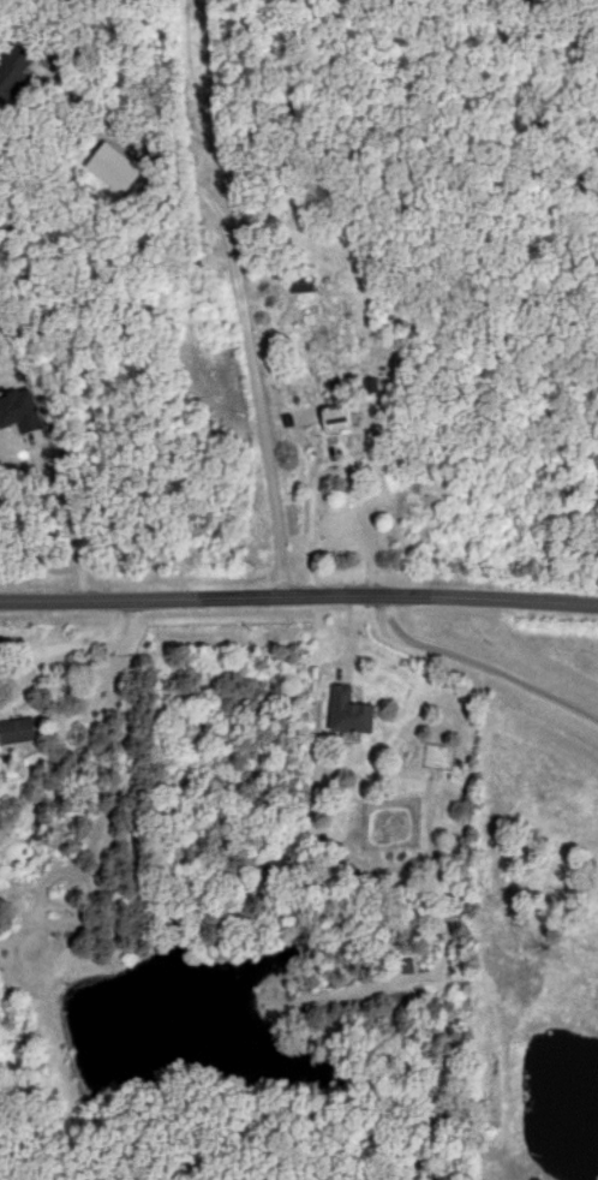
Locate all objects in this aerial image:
building: (13, 68)
building: (304, 281)
road: (237, 299)
building: (341, 417)
road: (329, 466)
road: (299, 598)
road: (479, 663)
building: (352, 710)
building: (18, 732)

